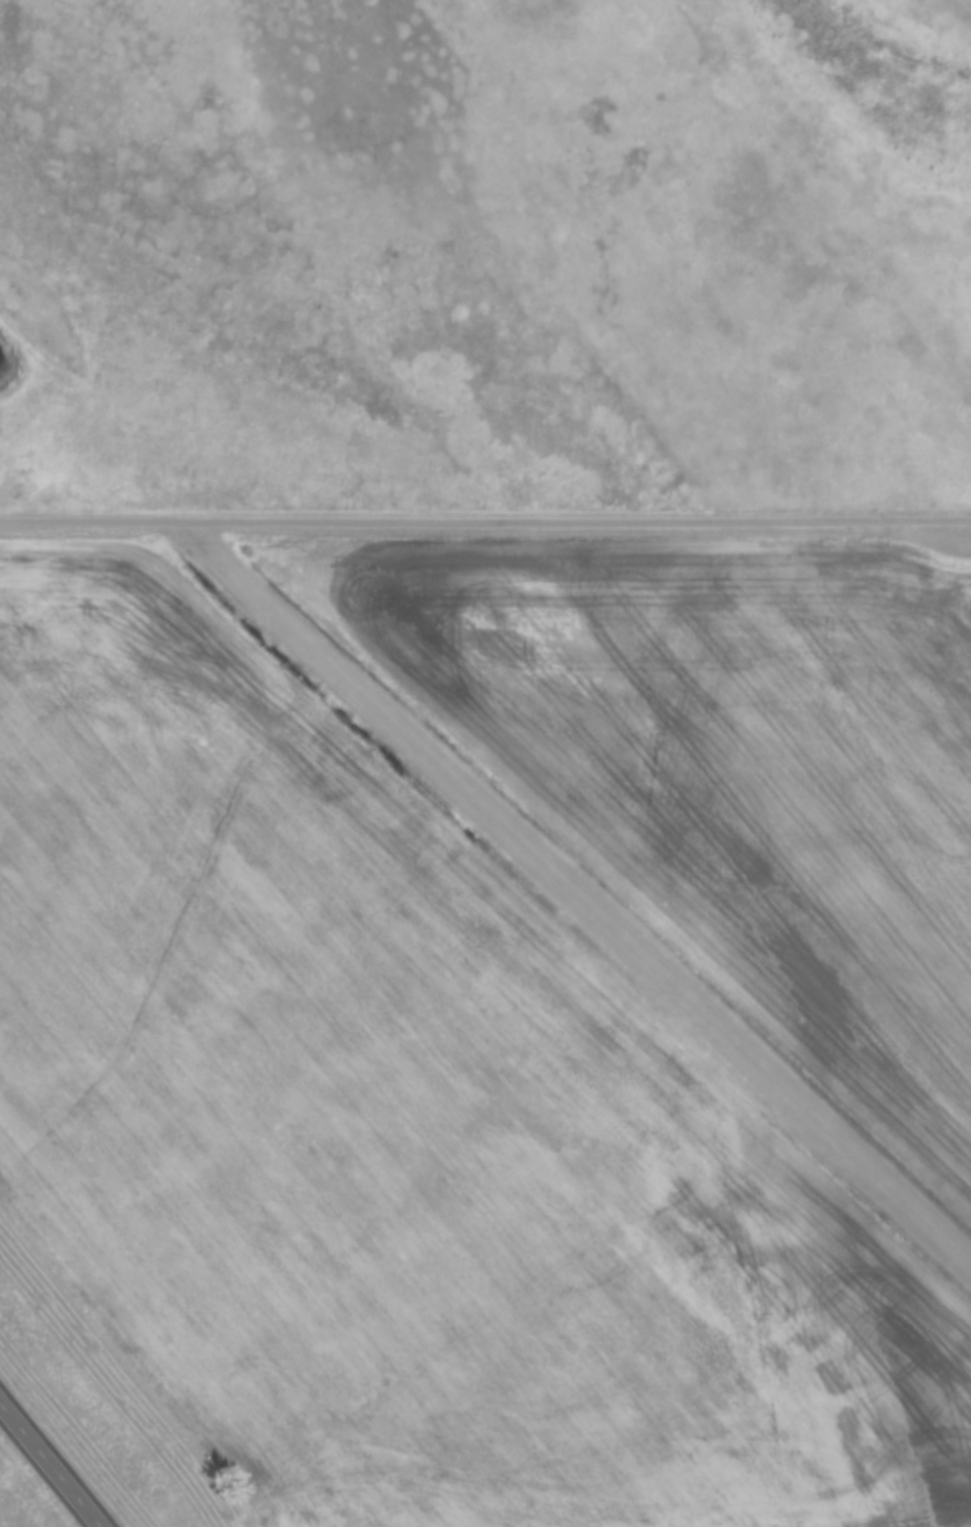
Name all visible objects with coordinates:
road: (485, 516)
road: (52, 1463)
road: (10, 1511)

